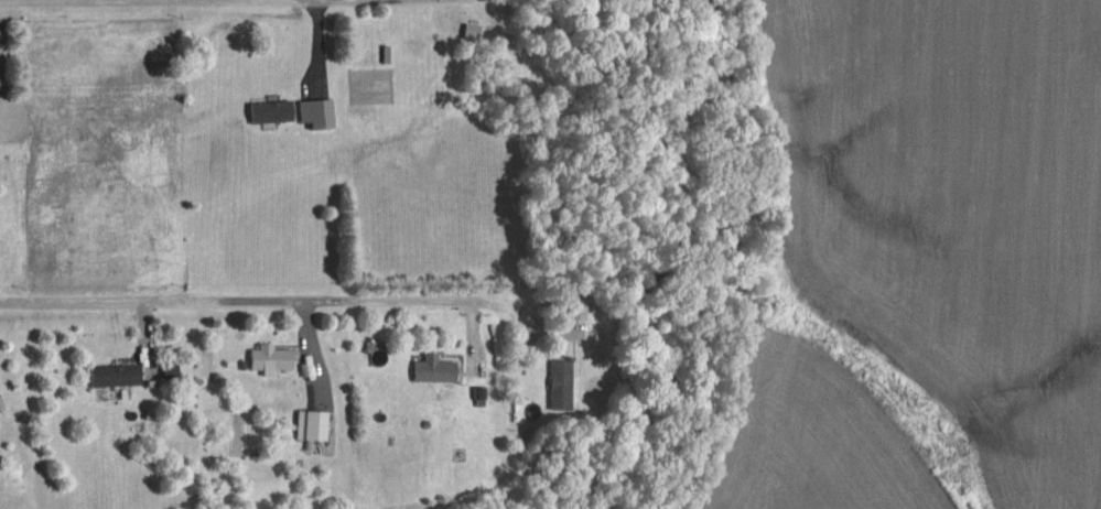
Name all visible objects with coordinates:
building: (267, 109)
building: (312, 111)
road: (271, 296)
building: (574, 306)
building: (268, 357)
building: (430, 367)
building: (111, 373)
building: (557, 383)
building: (307, 423)

